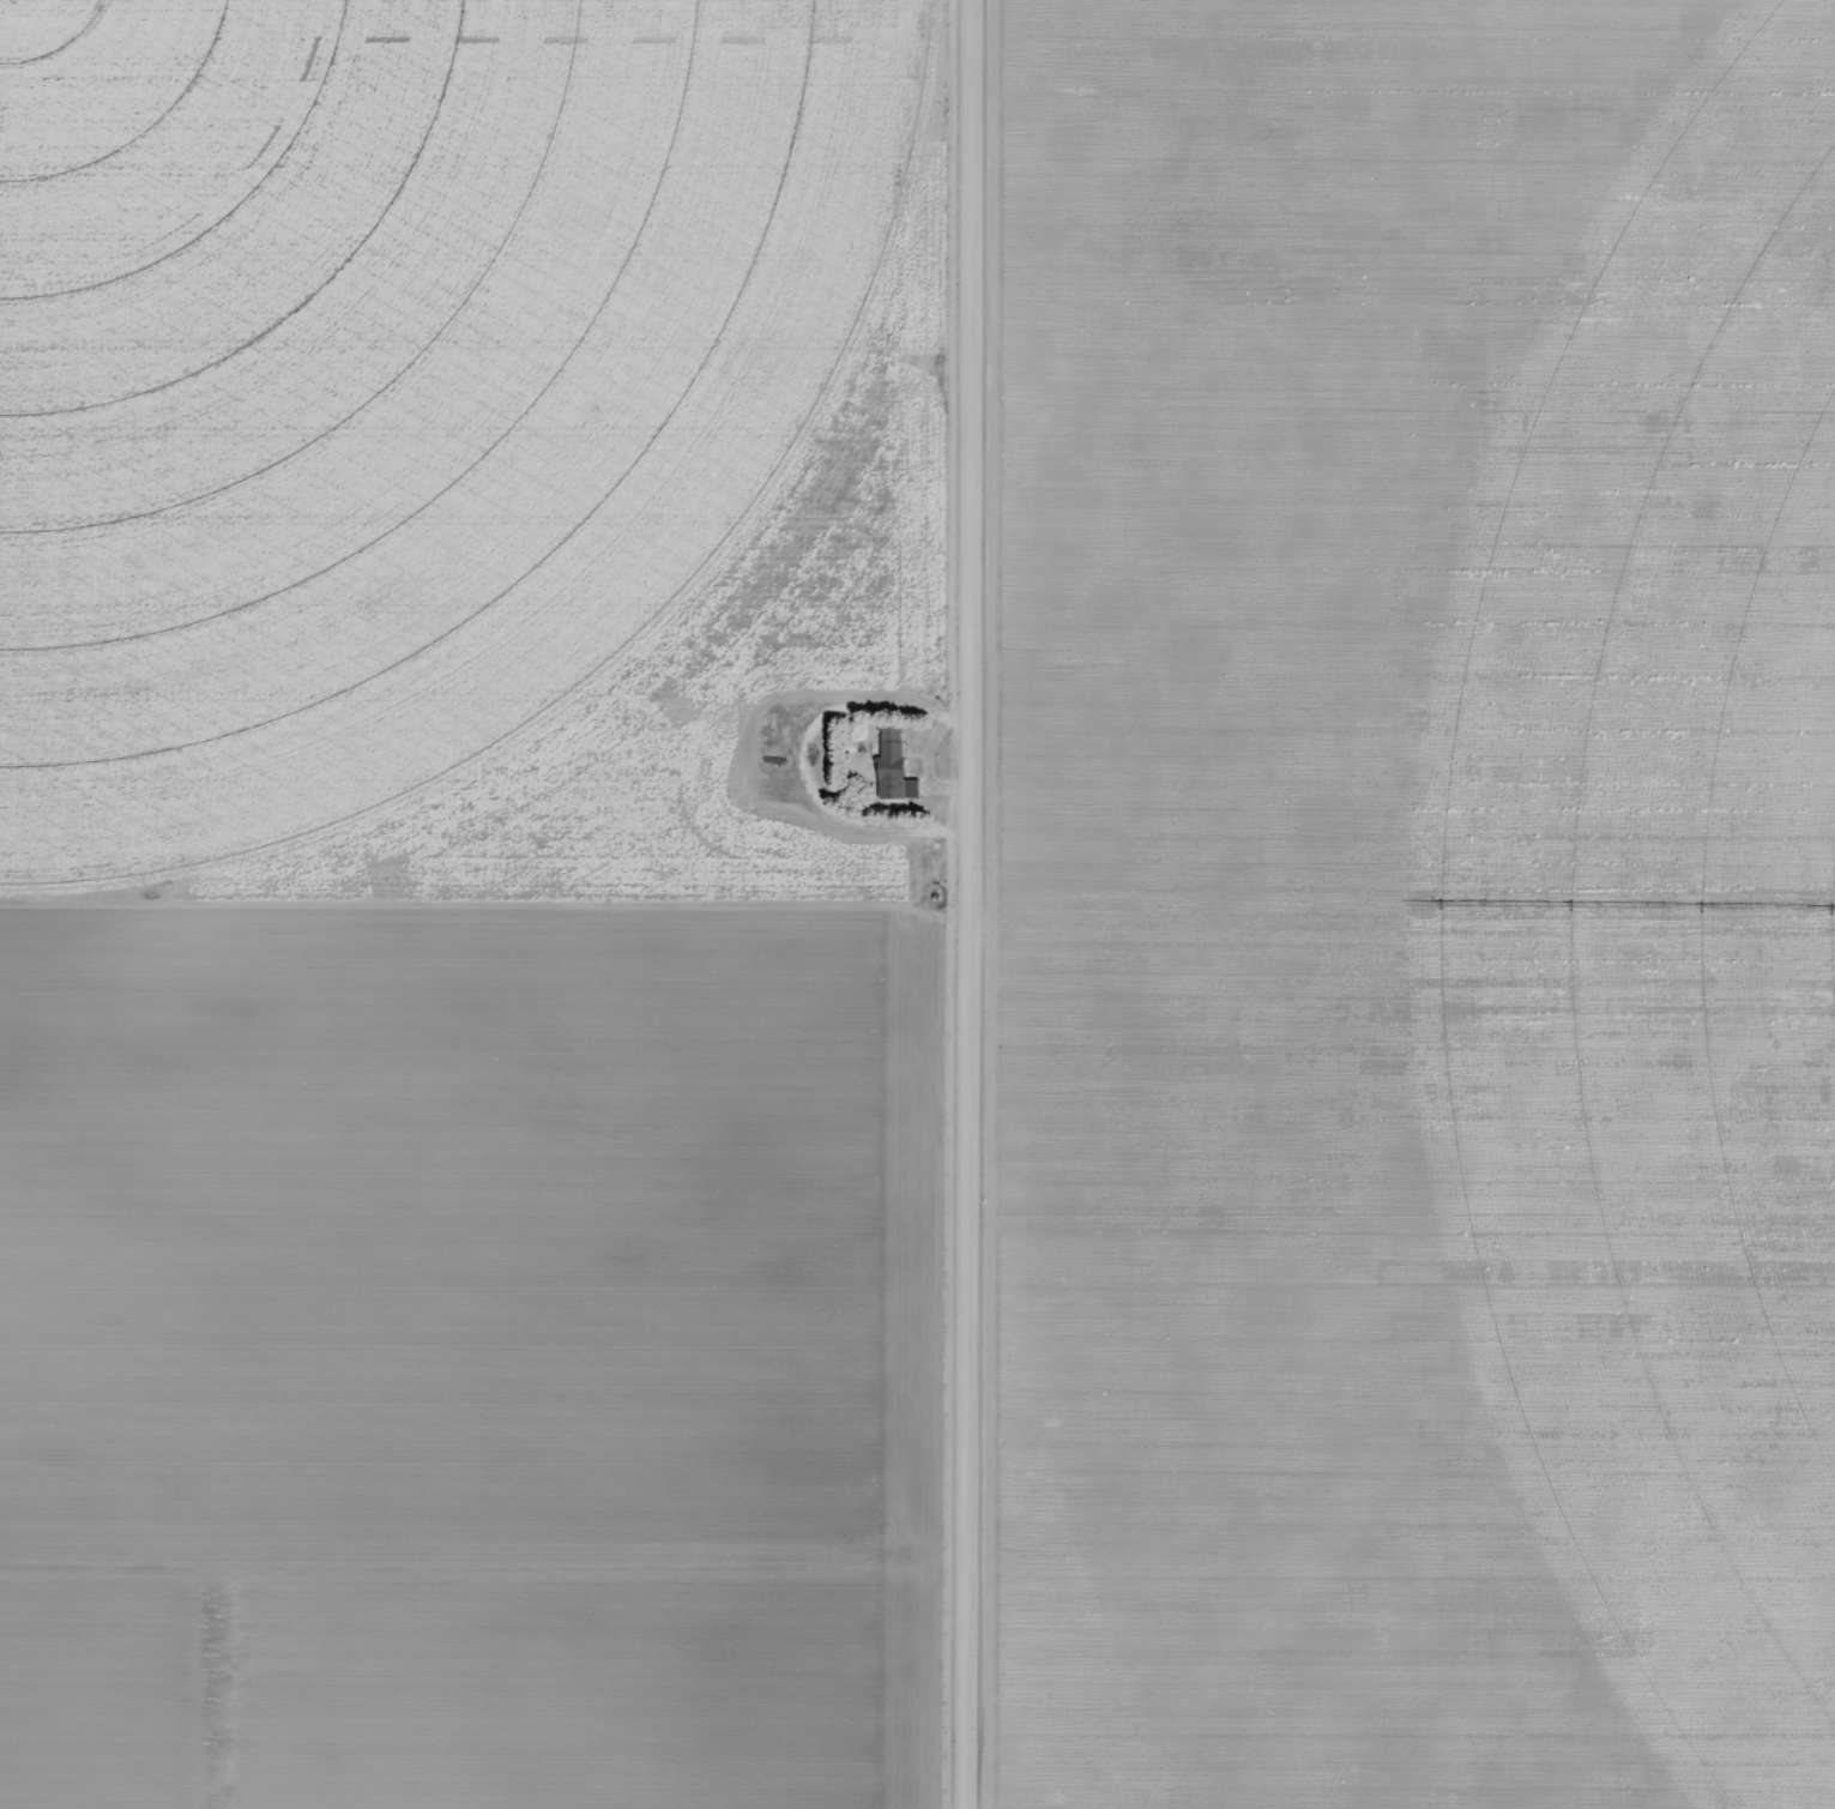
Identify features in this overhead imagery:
road: (982, 904)
road: (1408, 934)

